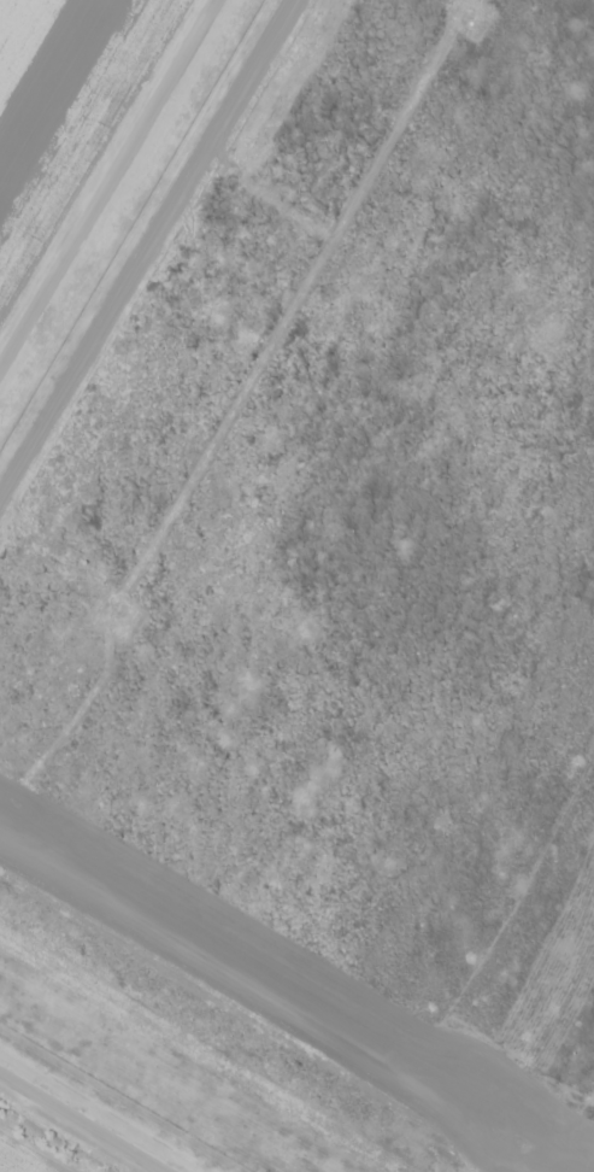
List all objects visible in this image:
road: (107, 181)
road: (80, 1123)

